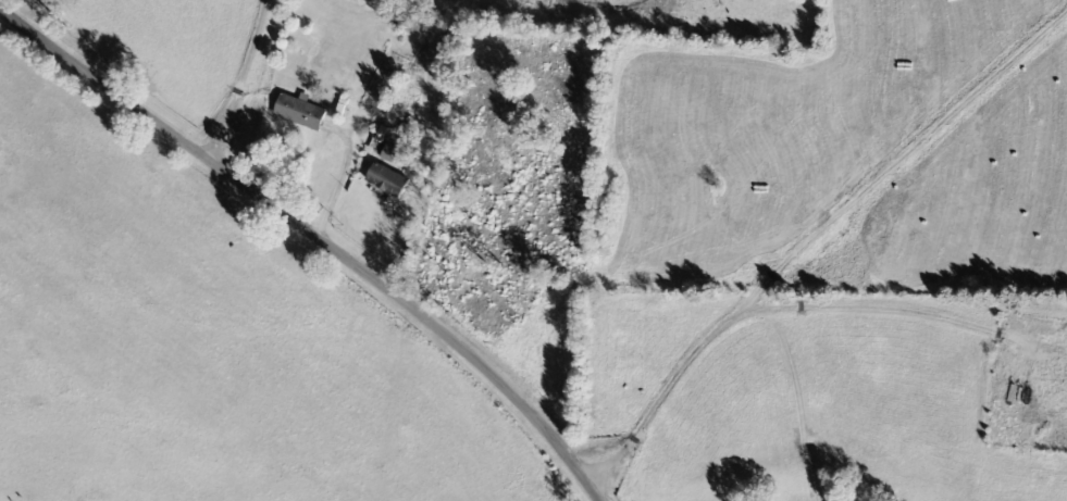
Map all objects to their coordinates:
road: (98, 28)
road: (248, 83)
road: (108, 85)
building: (300, 113)
building: (389, 154)
building: (388, 180)
road: (698, 267)
road: (420, 316)

